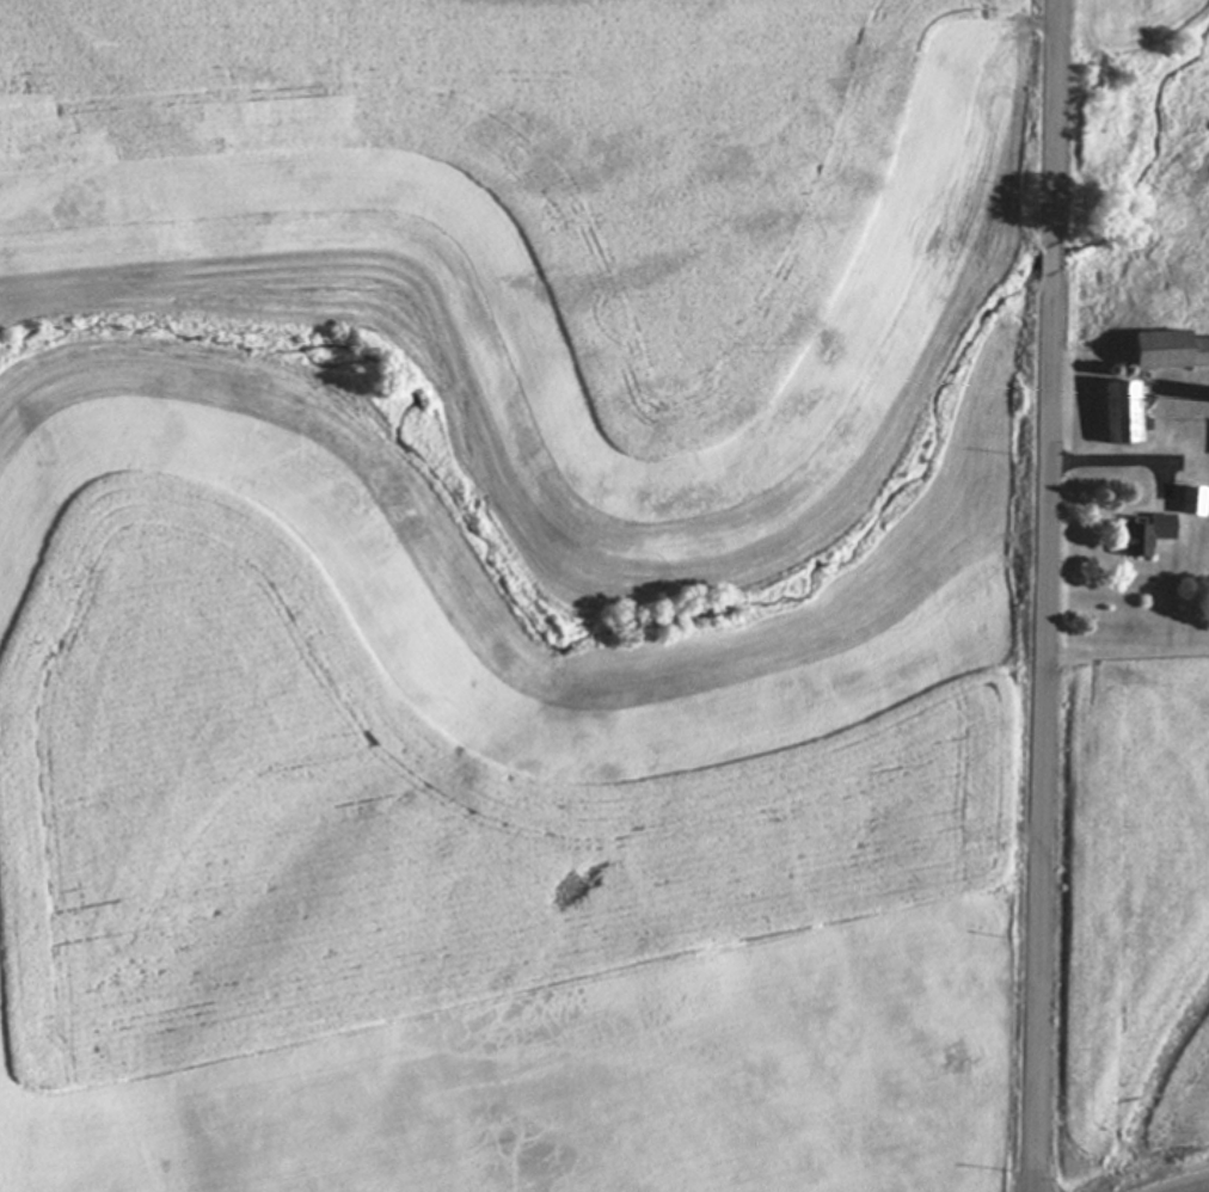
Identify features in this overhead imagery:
road: (1058, 113)
road: (1057, 256)
building: (1162, 352)
building: (1116, 414)
road: (1128, 460)
building: (1186, 503)
building: (1144, 536)
road: (1049, 738)

